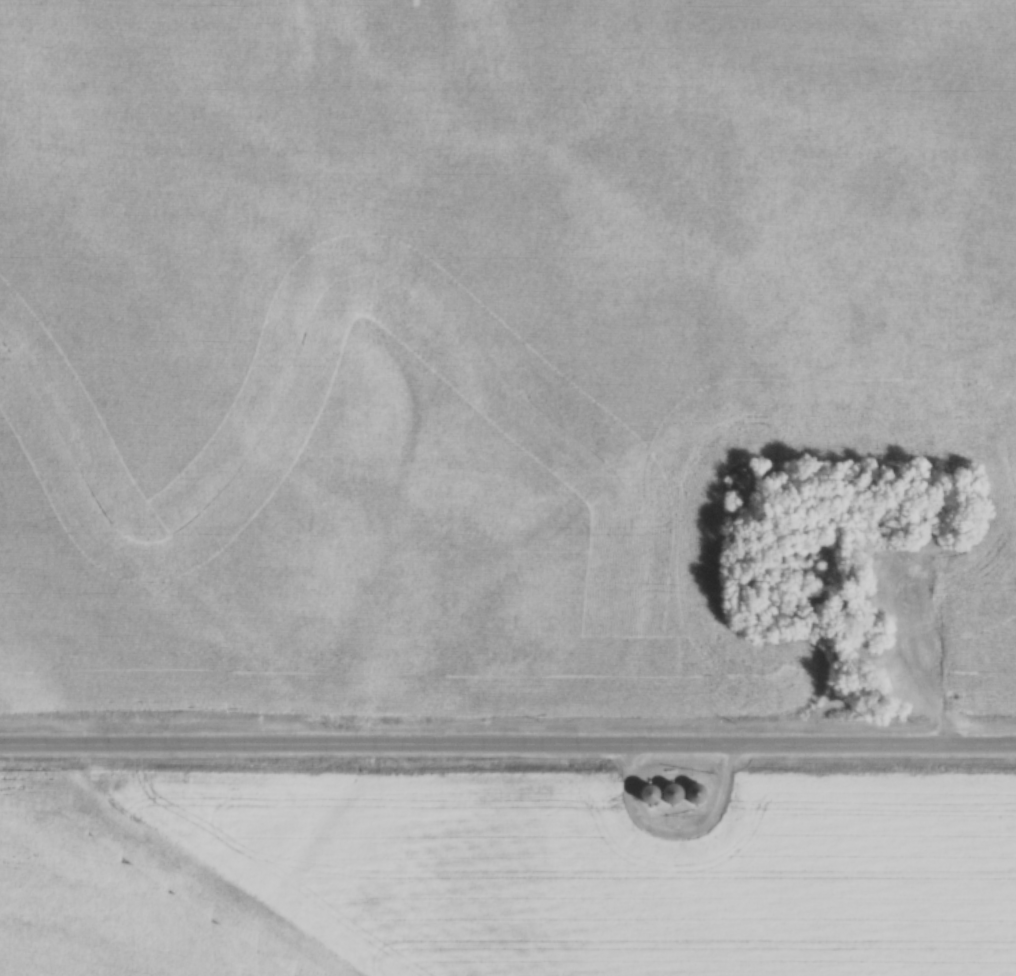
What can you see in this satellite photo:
crop: (475, 337)
road: (508, 741)
building: (698, 792)
building: (664, 793)
crop: (506, 870)

